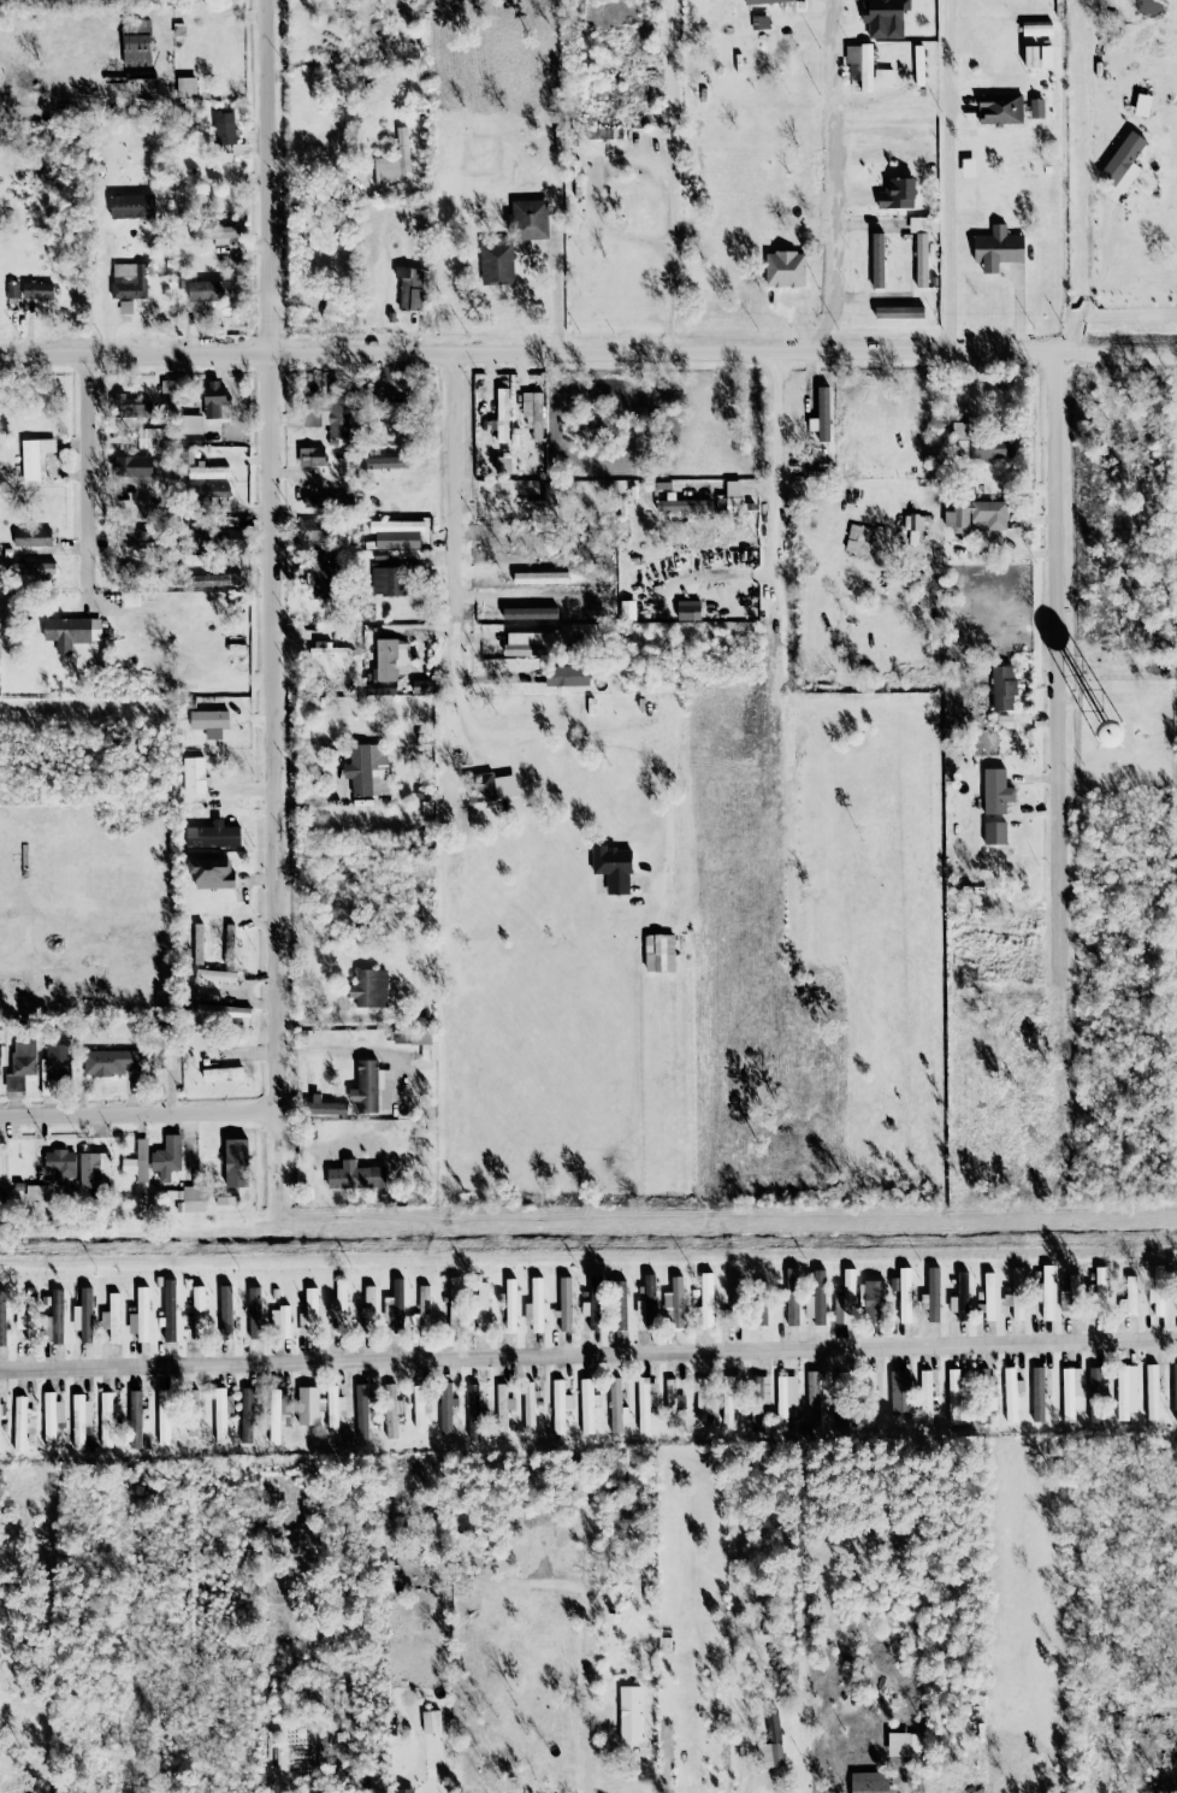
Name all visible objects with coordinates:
building: (767, 1)
road: (326, 10)
building: (885, 17)
building: (1036, 29)
building: (136, 43)
building: (1030, 57)
building: (852, 63)
building: (865, 67)
building: (883, 78)
building: (187, 87)
building: (1000, 110)
building: (1124, 161)
building: (395, 163)
road: (653, 176)
road: (942, 176)
road: (827, 178)
building: (898, 194)
road: (347, 195)
building: (131, 207)
building: (528, 220)
building: (219, 234)
building: (922, 246)
building: (998, 249)
building: (877, 260)
building: (496, 264)
building: (785, 269)
road: (1084, 276)
building: (129, 281)
building: (409, 288)
building: (13, 290)
building: (37, 290)
building: (208, 291)
building: (899, 312)
road: (564, 315)
road: (588, 354)
building: (168, 387)
road: (489, 391)
building: (215, 402)
building: (131, 407)
building: (392, 412)
building: (533, 414)
building: (823, 414)
building: (502, 415)
building: (189, 433)
building: (148, 438)
building: (980, 444)
building: (312, 456)
building: (35, 458)
building: (385, 462)
building: (132, 466)
road: (85, 472)
building: (208, 472)
road: (775, 476)
building: (733, 488)
building: (213, 491)
road: (453, 497)
building: (337, 500)
building: (312, 502)
building: (682, 506)
building: (976, 515)
building: (310, 535)
building: (397, 535)
building: (31, 537)
building: (135, 537)
building: (213, 538)
road: (273, 554)
building: (189, 559)
building: (30, 568)
building: (325, 577)
building: (218, 580)
building: (388, 582)
building: (688, 614)
building: (71, 632)
building: (531, 645)
building: (329, 653)
building: (391, 660)
road: (1058, 671)
building: (567, 676)
building: (1002, 688)
building: (209, 722)
building: (1108, 733)
road: (579, 737)
building: (367, 769)
building: (194, 775)
building: (491, 788)
building: (995, 791)
building: (995, 833)
building: (212, 836)
building: (613, 868)
building: (212, 873)
building: (660, 952)
building: (214, 975)
building: (369, 989)
building: (223, 1011)
road: (343, 1020)
building: (401, 1037)
building: (425, 1044)
building: (162, 1046)
road: (339, 1050)
building: (0, 1051)
building: (108, 1062)
building: (58, 1067)
building: (223, 1073)
building: (372, 1087)
building: (324, 1109)
road: (140, 1113)
building: (166, 1158)
building: (137, 1162)
building: (60, 1163)
building: (236, 1163)
building: (94, 1169)
building: (356, 1176)
building: (36, 1193)
building: (193, 1201)
building: (1159, 1273)
building: (1047, 1292)
building: (1100, 1292)
building: (1016, 1294)
building: (1074, 1294)
building: (1130, 1294)
building: (905, 1296)
building: (792, 1297)
building: (931, 1297)
building: (989, 1297)
building: (960, 1298)
building: (816, 1299)
building: (845, 1299)
building: (706, 1300)
building: (735, 1300)
building: (650, 1302)
building: (874, 1302)
building: (1157, 1302)
building: (595, 1303)
building: (454, 1304)
building: (564, 1304)
building: (620, 1304)
building: (674, 1304)
building: (510, 1305)
building: (1175, 1305)
building: (341, 1307)
building: (395, 1307)
building: (534, 1307)
building: (481, 1308)
building: (170, 1310)
building: (422, 1311)
building: (226, 1313)
building: (368, 1313)
building: (83, 1314)
building: (199, 1314)
building: (254, 1314)
building: (309, 1314)
building: (761, 1315)
building: (140, 1316)
building: (111, 1317)
building: (30, 1319)
building: (54, 1319)
building: (2, 1320)
building: (20, 1322)
building: (279, 1322)
road: (587, 1353)
building: (1125, 1390)
building: (988, 1391)
building: (1070, 1392)
building: (1152, 1392)
building: (1175, 1392)
building: (901, 1393)
building: (1011, 1394)
building: (1037, 1394)
building: (1095, 1396)
building: (731, 1397)
building: (953, 1397)
building: (673, 1398)
building: (925, 1398)
building: (700, 1399)
building: (783, 1399)
building: (812, 1399)
building: (758, 1400)
building: (646, 1403)
building: (587, 1405)
building: (615, 1405)
building: (307, 1406)
building: (503, 1406)
building: (530, 1406)
building: (560, 1406)
road: (255, 1408)
building: (446, 1409)
building: (419, 1410)
building: (473, 1412)
building: (193, 1414)
building: (221, 1414)
building: (247, 1416)
building: (274, 1416)
building: (51, 1417)
building: (164, 1417)
building: (107, 1419)
building: (391, 1419)
building: (81, 1420)
building: (135, 1420)
building: (22, 1422)
building: (331, 1427)
building: (362, 1427)
building: (634, 1484)
road: (601, 1693)
building: (629, 1715)
building: (431, 1722)
building: (771, 1744)
building: (869, 1782)
building: (404, 1791)
road: (434, 1791)
road: (757, 1792)

